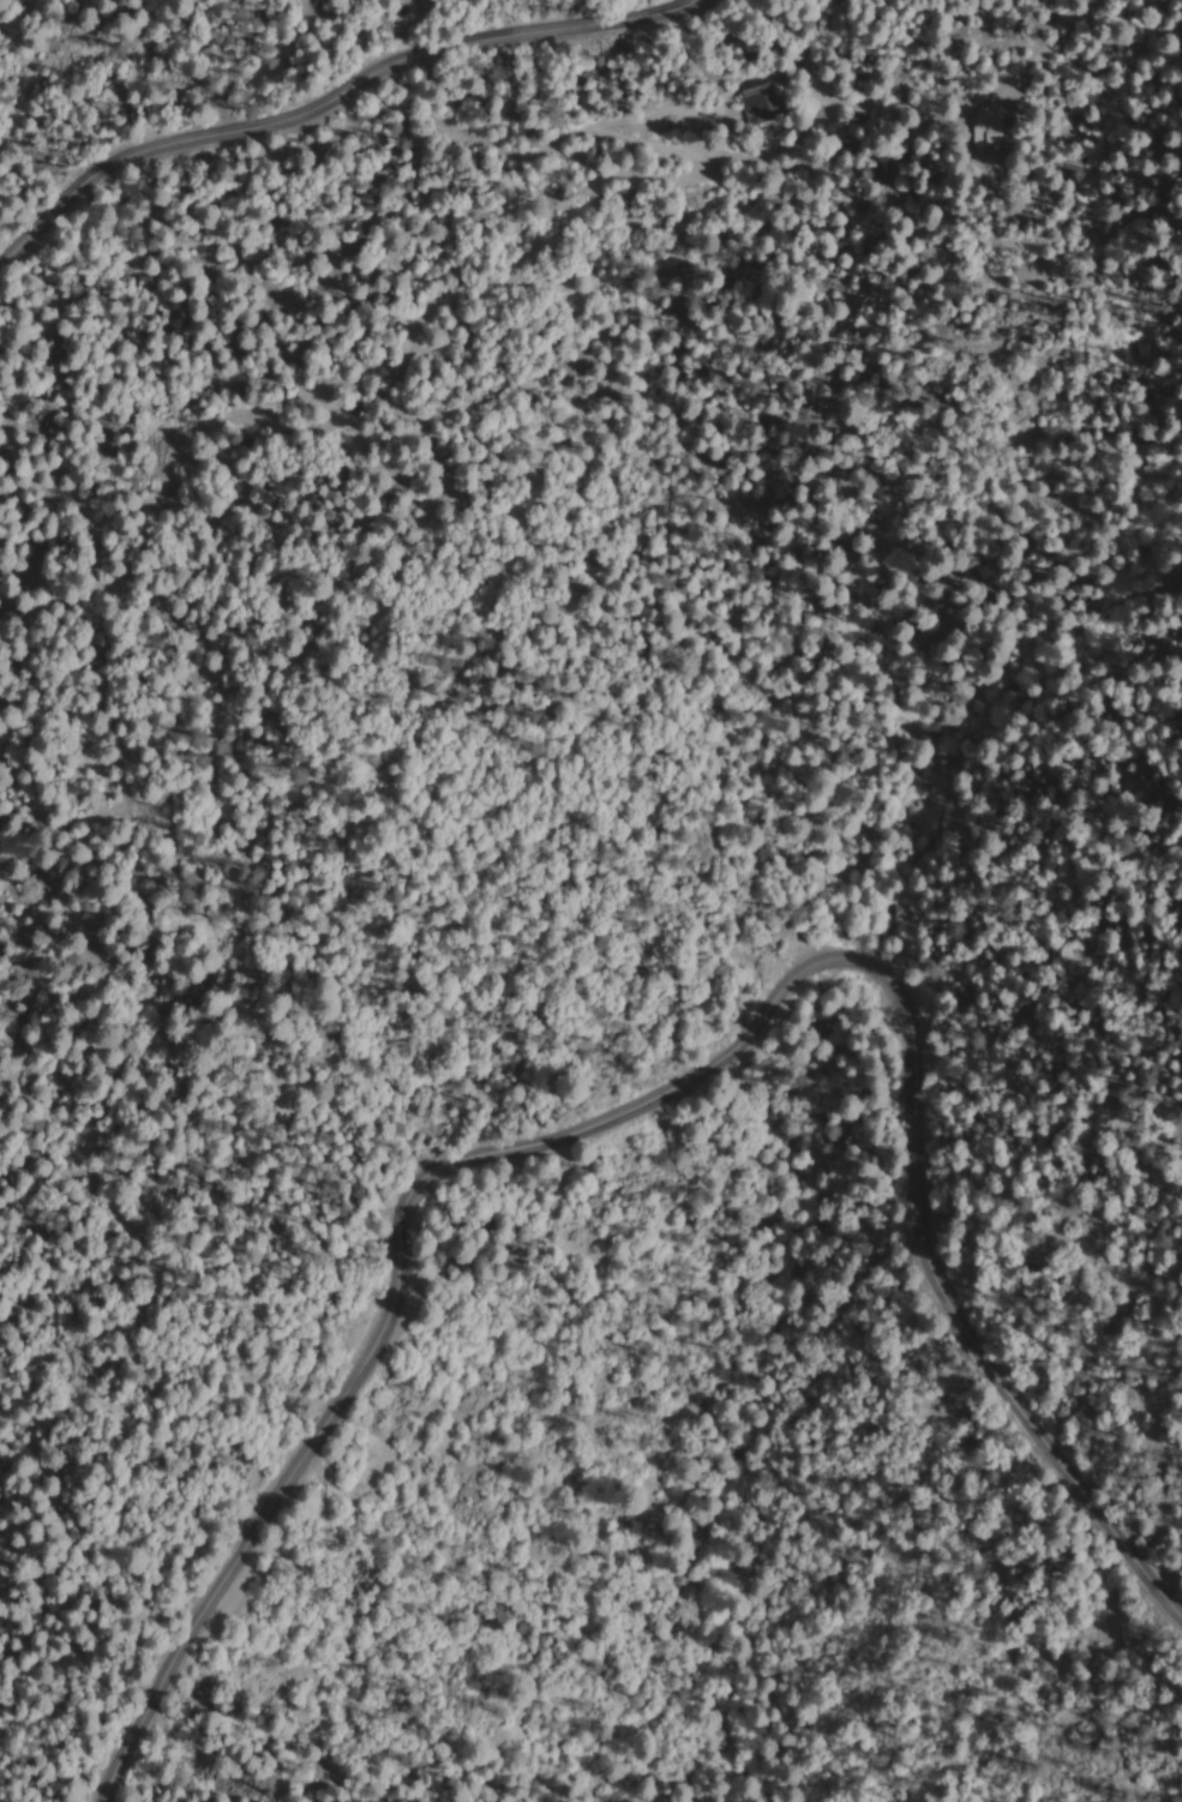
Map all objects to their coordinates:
road: (324, 100)
building: (766, 101)
building: (995, 128)
road: (677, 1082)

